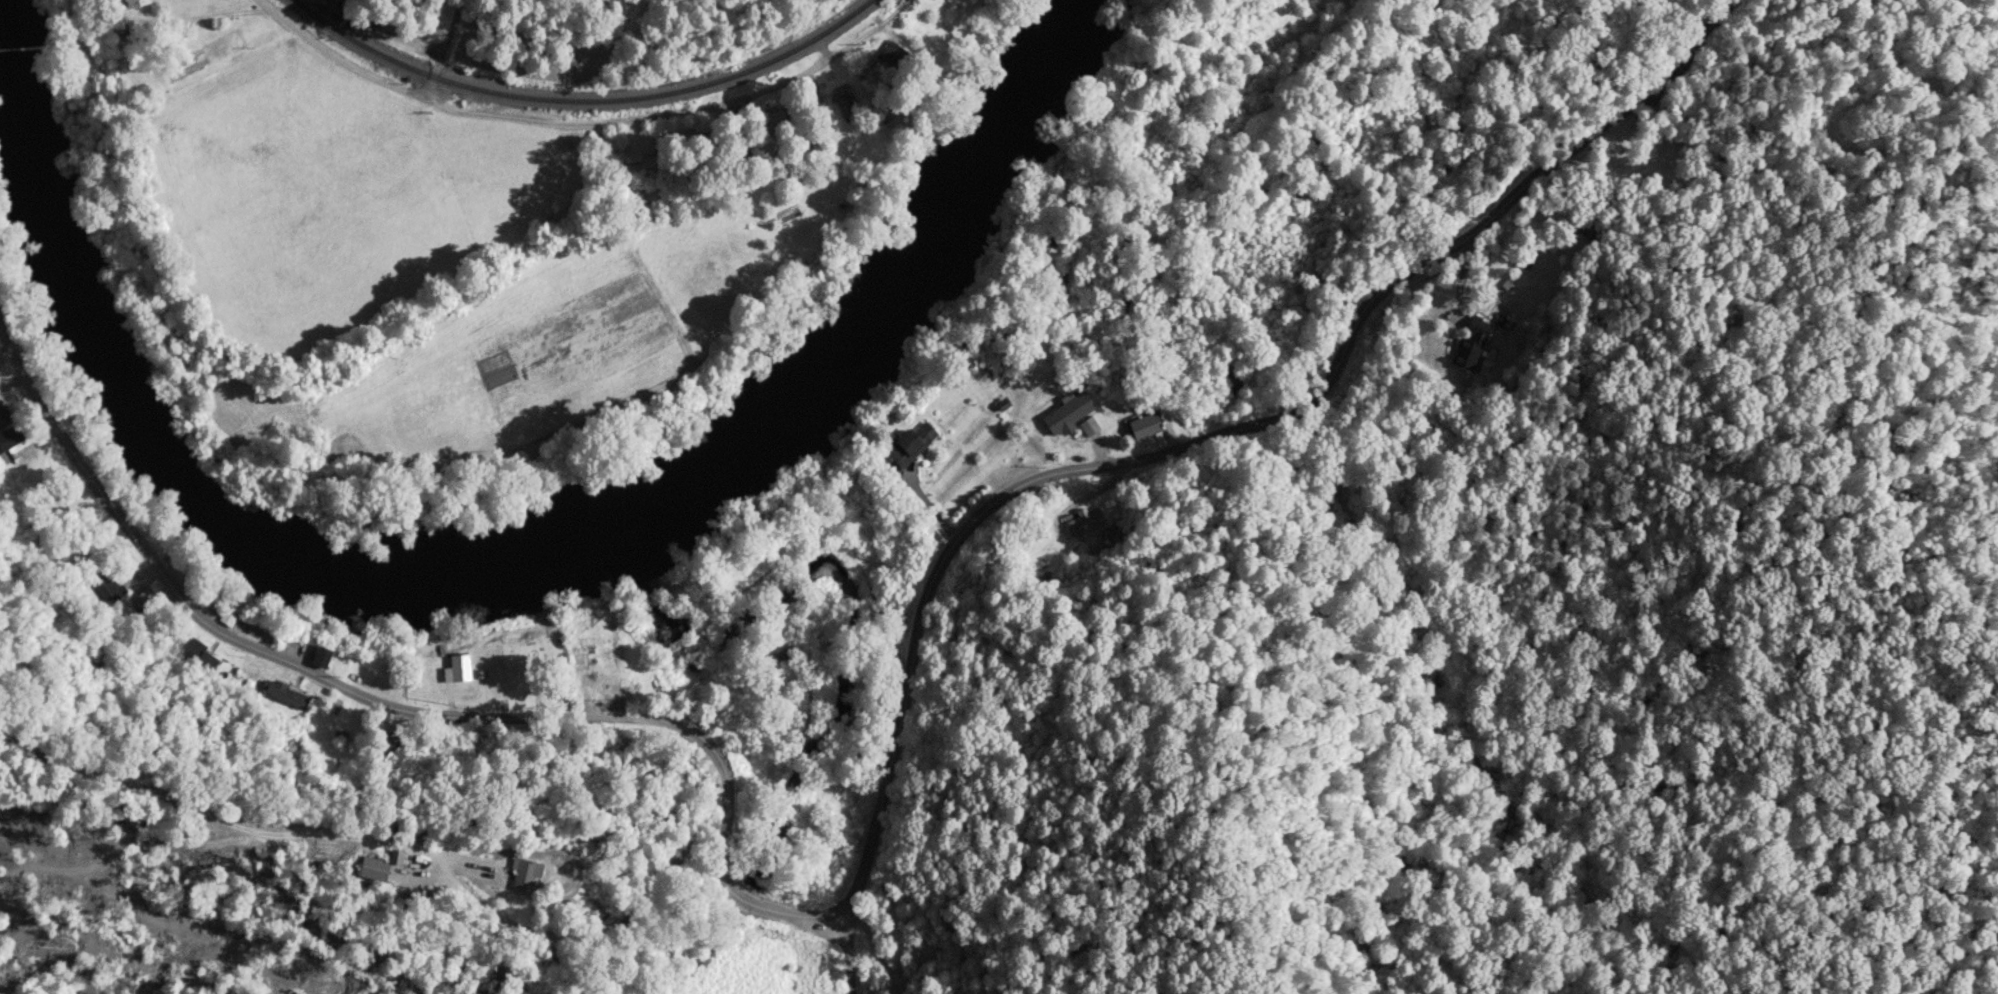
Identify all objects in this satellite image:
building: (135, 2)
road: (441, 48)
building: (892, 54)
building: (844, 100)
railway: (582, 101)
building: (769, 121)
road: (578, 123)
building: (1471, 343)
building: (1067, 413)
building: (3, 417)
building: (1088, 425)
building: (1144, 425)
road: (60, 436)
road: (1218, 436)
building: (9, 437)
building: (914, 440)
building: (1085, 520)
river: (480, 569)
building: (144, 599)
building: (321, 656)
building: (457, 668)
building: (613, 688)
building: (283, 693)
road: (418, 701)
road: (721, 846)
building: (373, 868)
building: (525, 871)
road: (786, 913)
road: (601, 937)
road: (844, 953)

